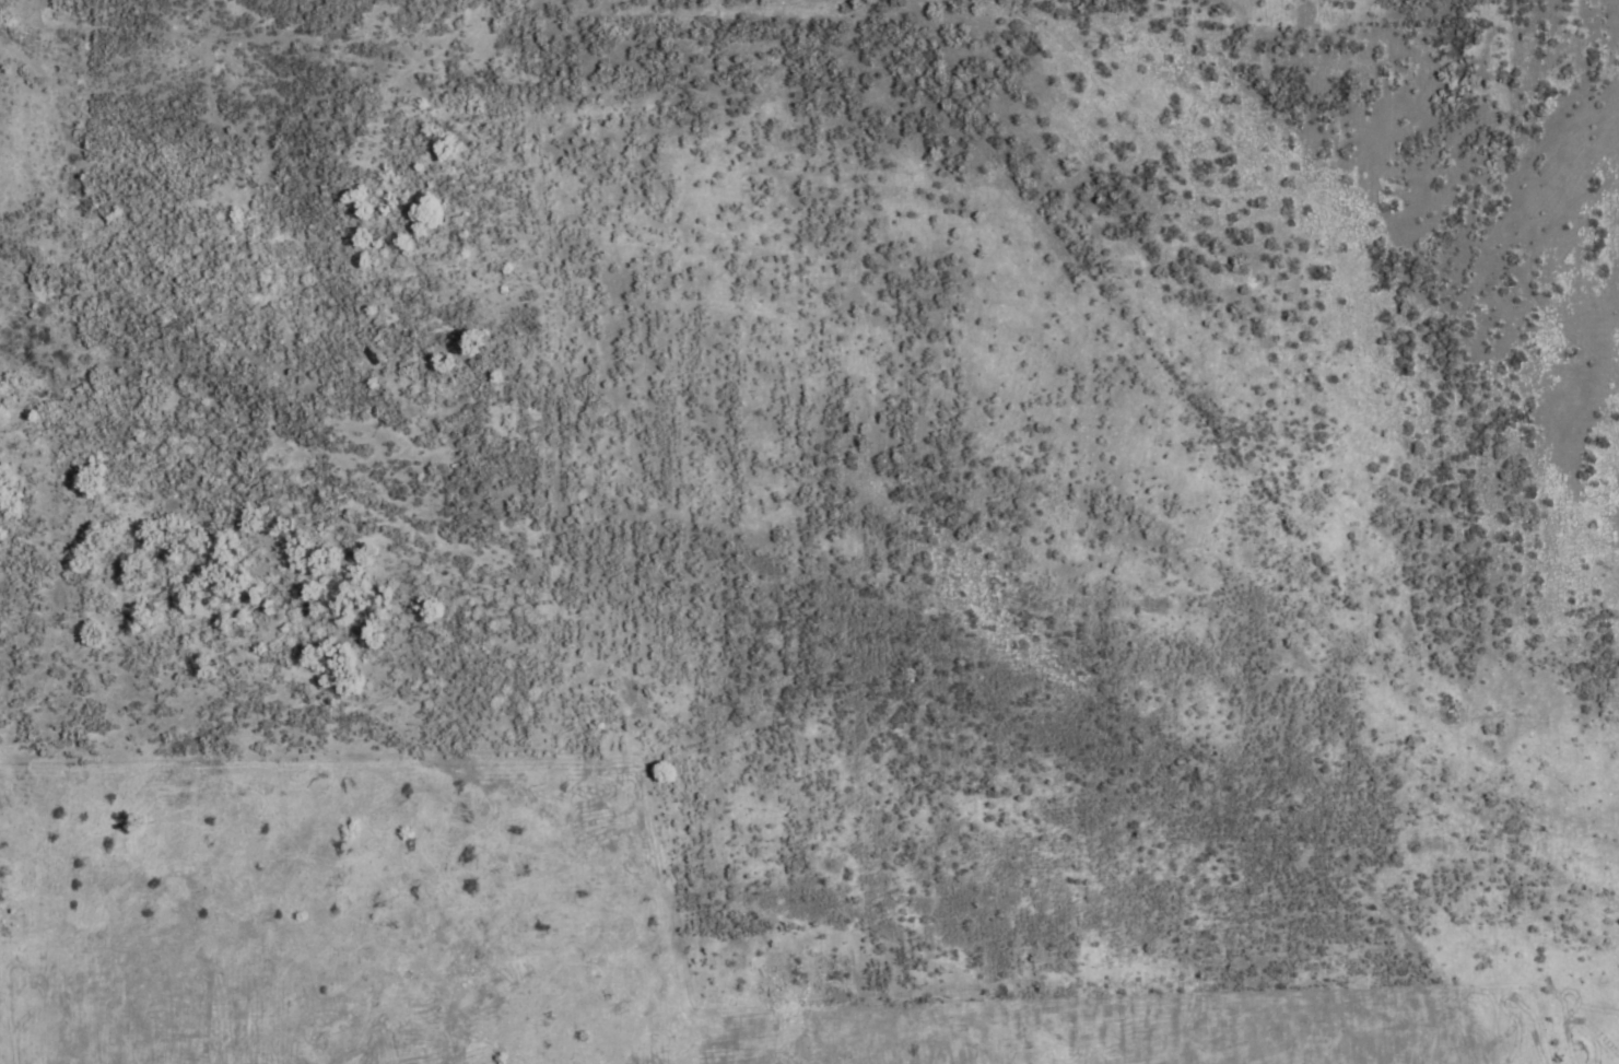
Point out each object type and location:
road: (1539, 938)

